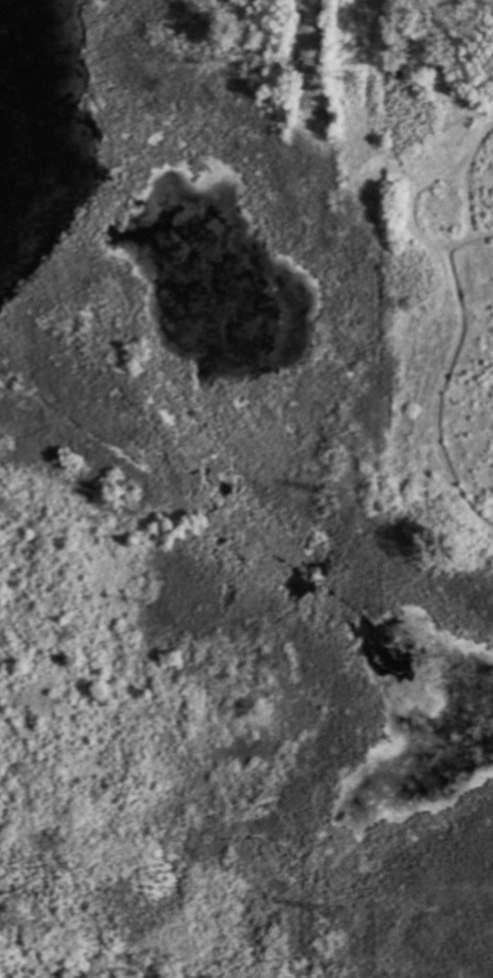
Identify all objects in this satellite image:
crop: (445, 21)
power tower: (348, 80)
power tower: (344, 497)
power tower: (340, 912)

